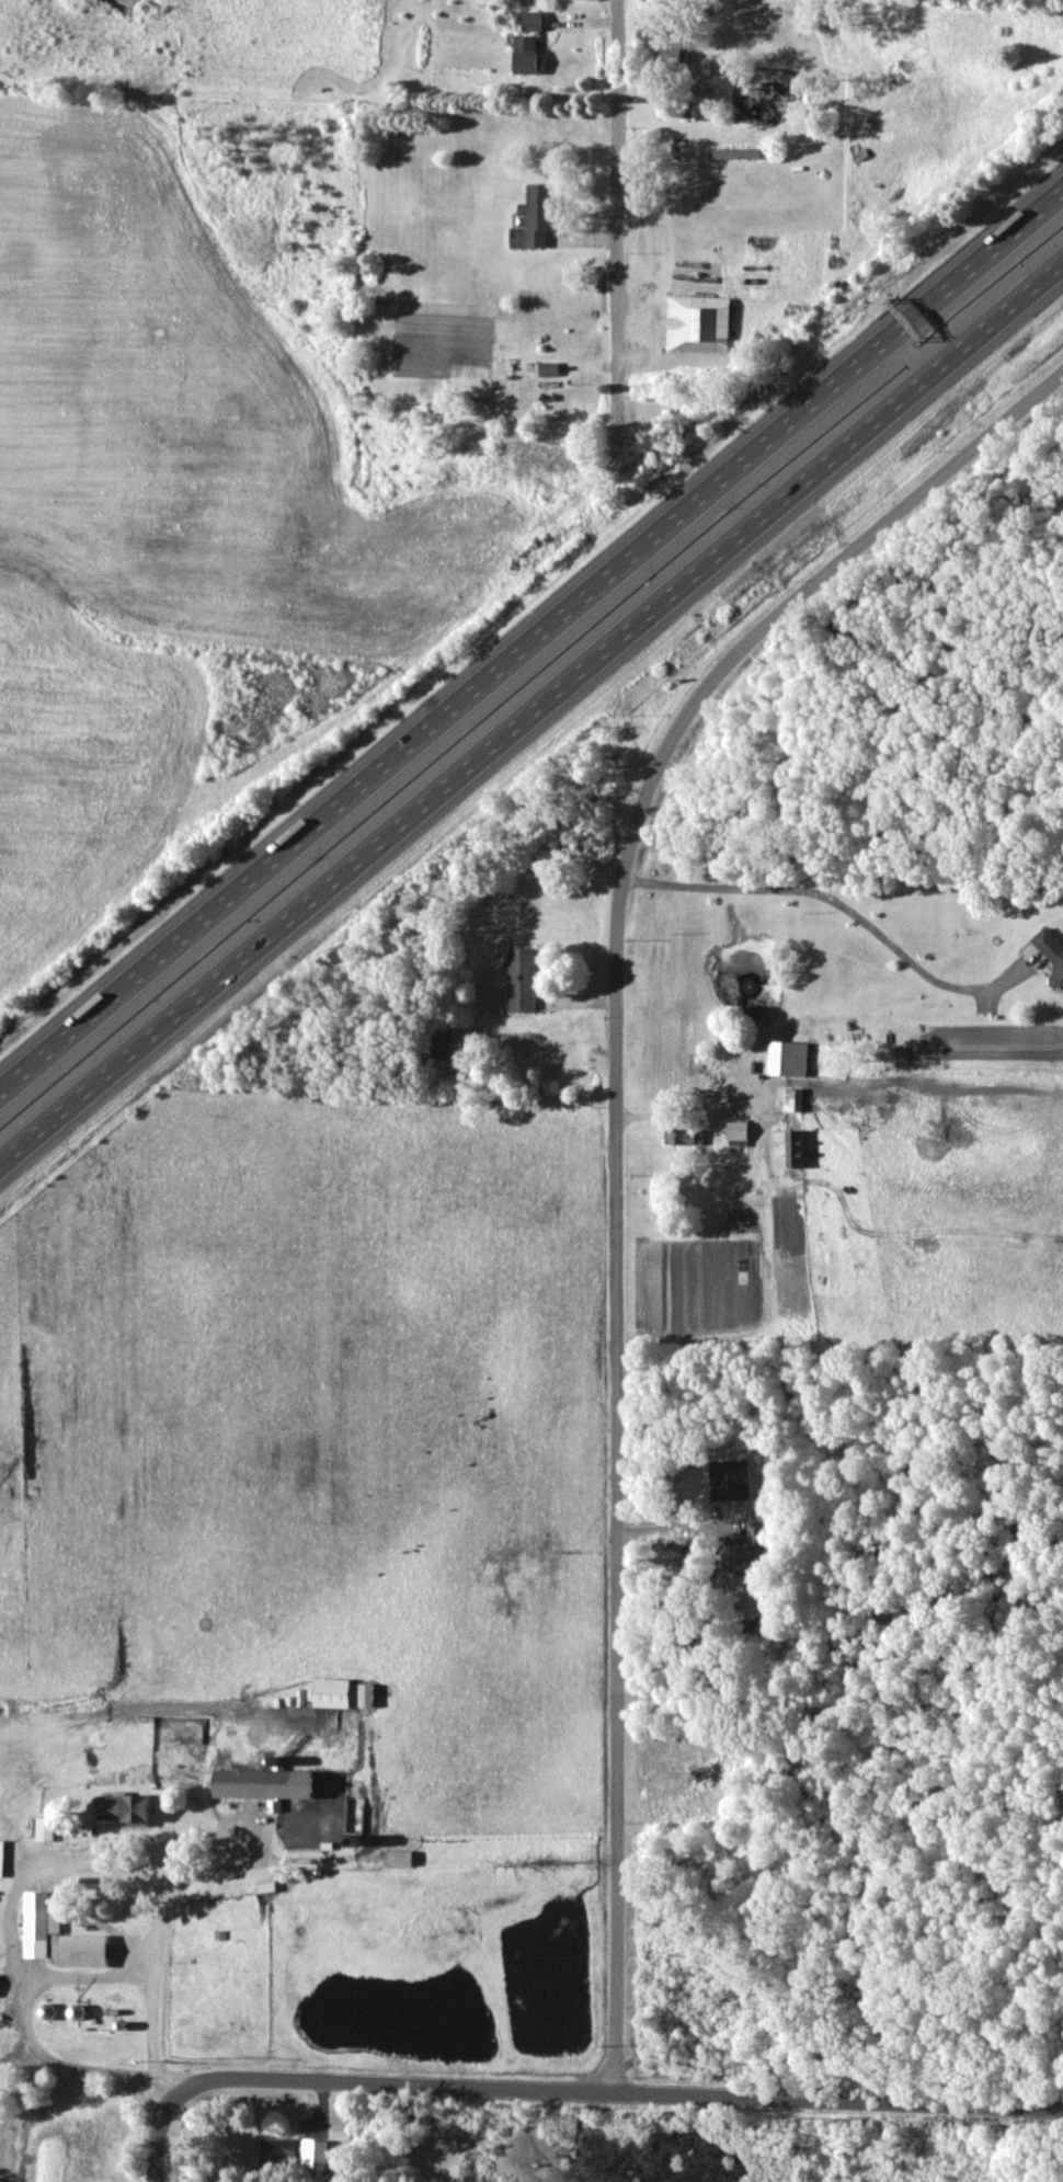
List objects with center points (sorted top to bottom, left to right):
building: (531, 19)
building: (526, 53)
building: (682, 59)
building: (702, 93)
building: (734, 151)
road: (614, 193)
road: (1035, 206)
building: (535, 216)
road: (1055, 260)
road: (956, 275)
road: (994, 315)
building: (698, 322)
road: (922, 342)
road: (858, 359)
building: (548, 367)
road: (892, 403)
road: (799, 602)
road: (405, 743)
road: (422, 802)
road: (843, 905)
building: (1051, 952)
building: (522, 978)
building: (788, 1056)
building: (793, 1098)
road: (688, 1116)
building: (738, 1131)
building: (683, 1135)
building: (789, 1144)
building: (730, 1478)
road: (617, 1485)
road: (673, 1527)
building: (745, 1556)
building: (331, 1691)
building: (367, 1693)
building: (265, 1782)
building: (45, 1827)
building: (1, 1855)
building: (400, 1857)
road: (39, 1866)
building: (59, 1935)
road: (83, 1975)
road: (390, 2086)
road: (839, 2098)
building: (340, 2115)
road: (161, 2130)
building: (278, 2149)
building: (316, 2154)

